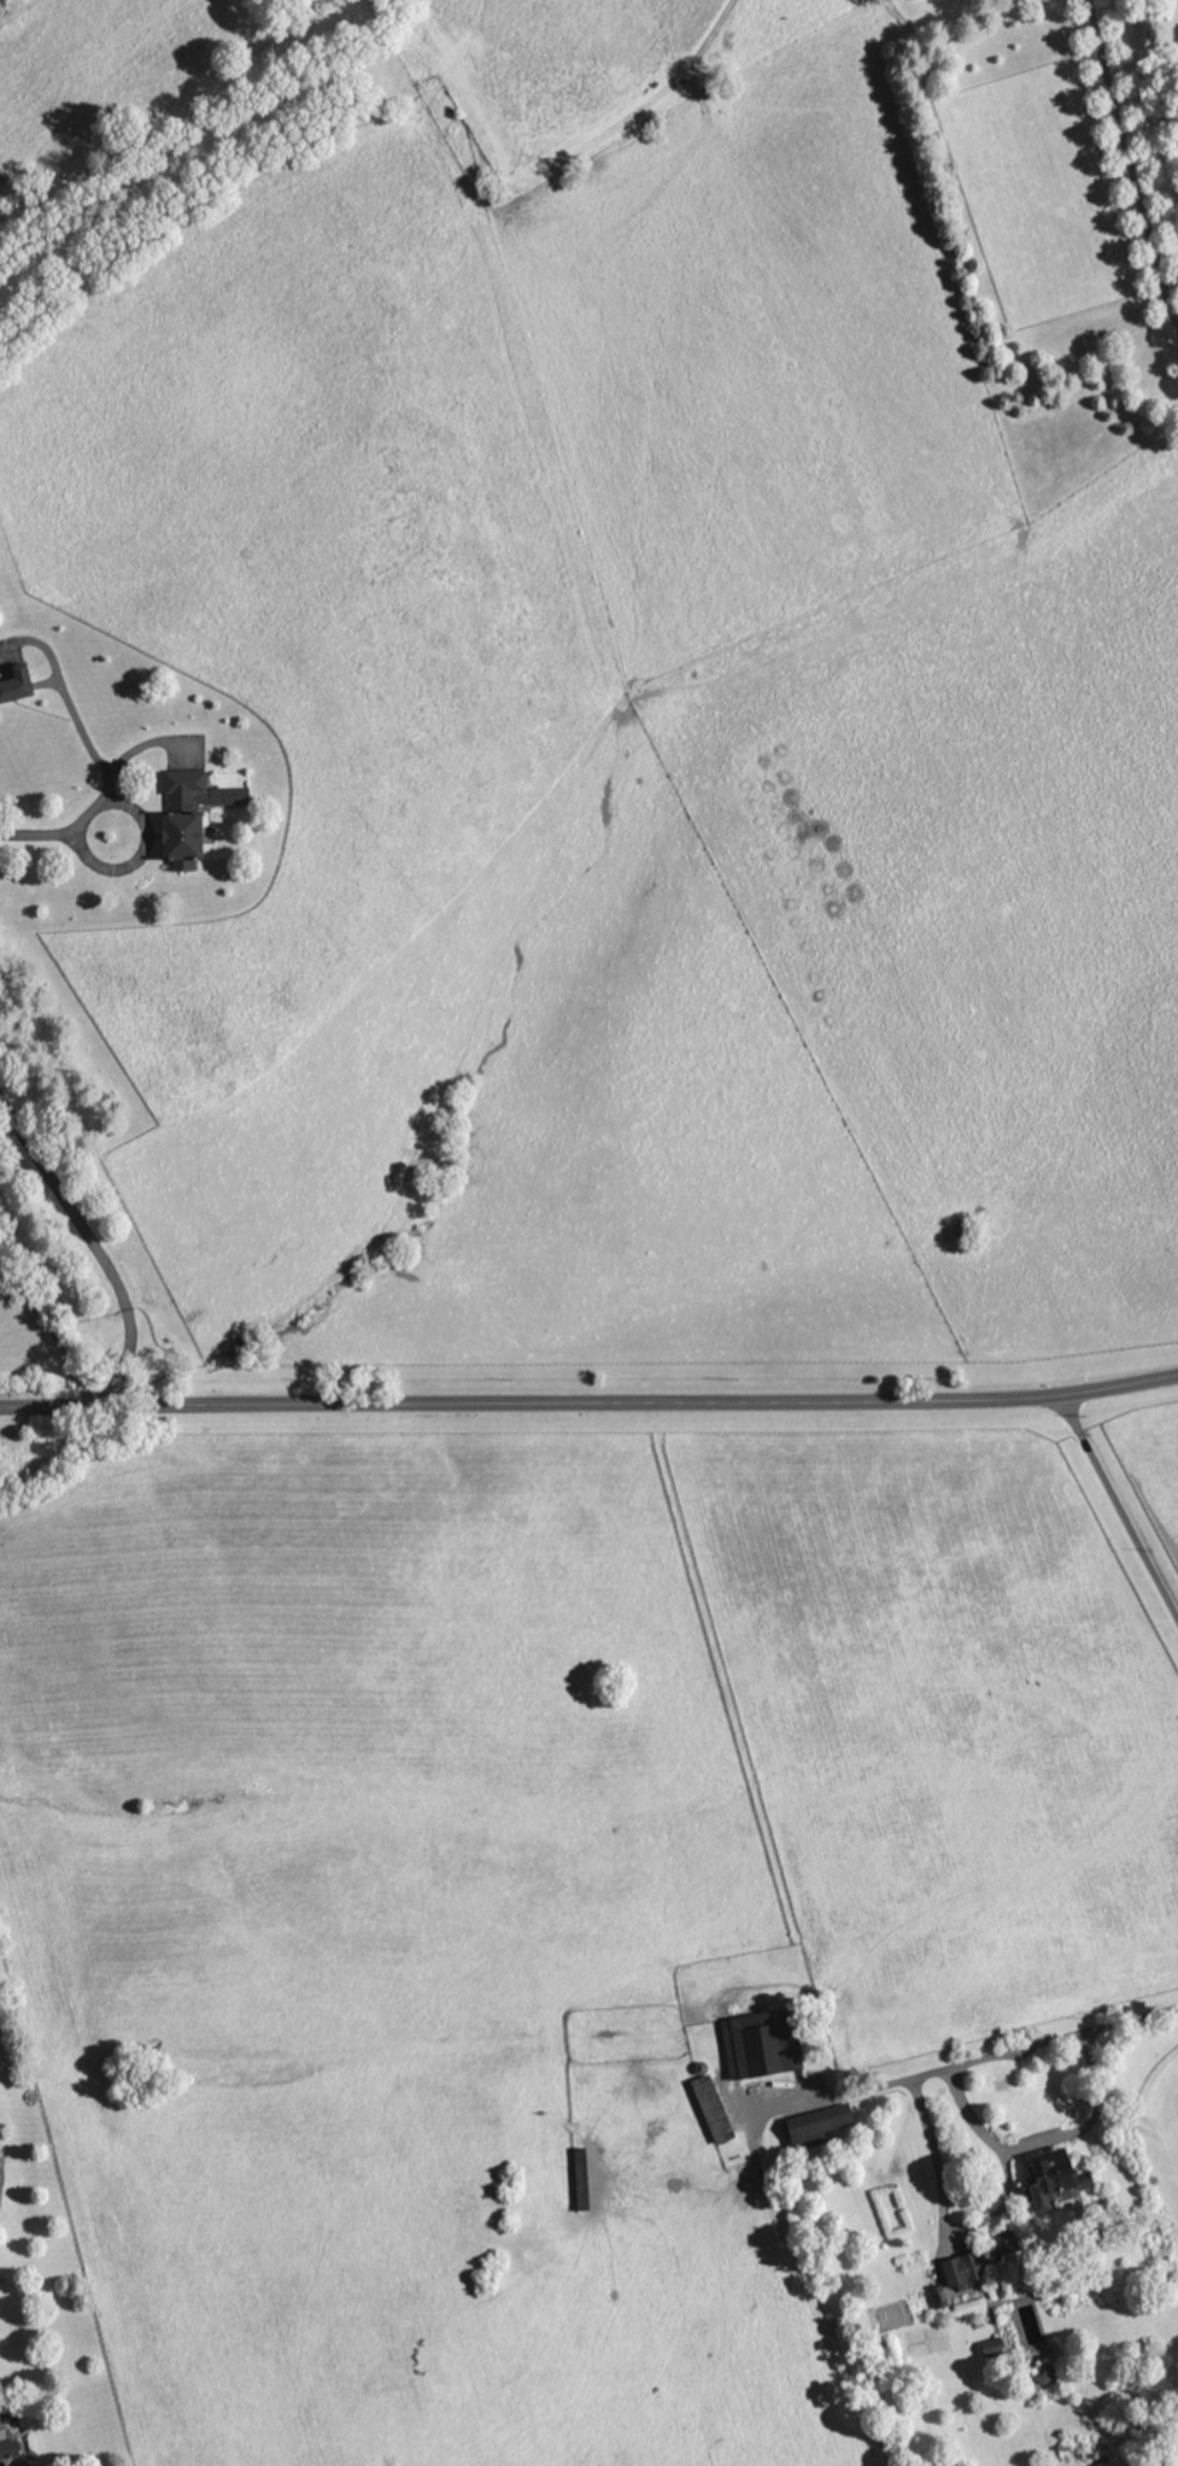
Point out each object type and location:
road: (661, 87)
road: (1131, 162)
building: (16, 683)
building: (191, 813)
road: (61, 830)
road: (89, 1243)
road: (590, 1401)
road: (1118, 1506)
building: (760, 2044)
road: (975, 2060)
building: (711, 2108)
road: (1089, 2120)
building: (816, 2125)
building: (1053, 2181)
road: (977, 2222)
building: (1004, 2242)
building: (963, 2268)
building: (992, 2345)
building: (8, 2448)

